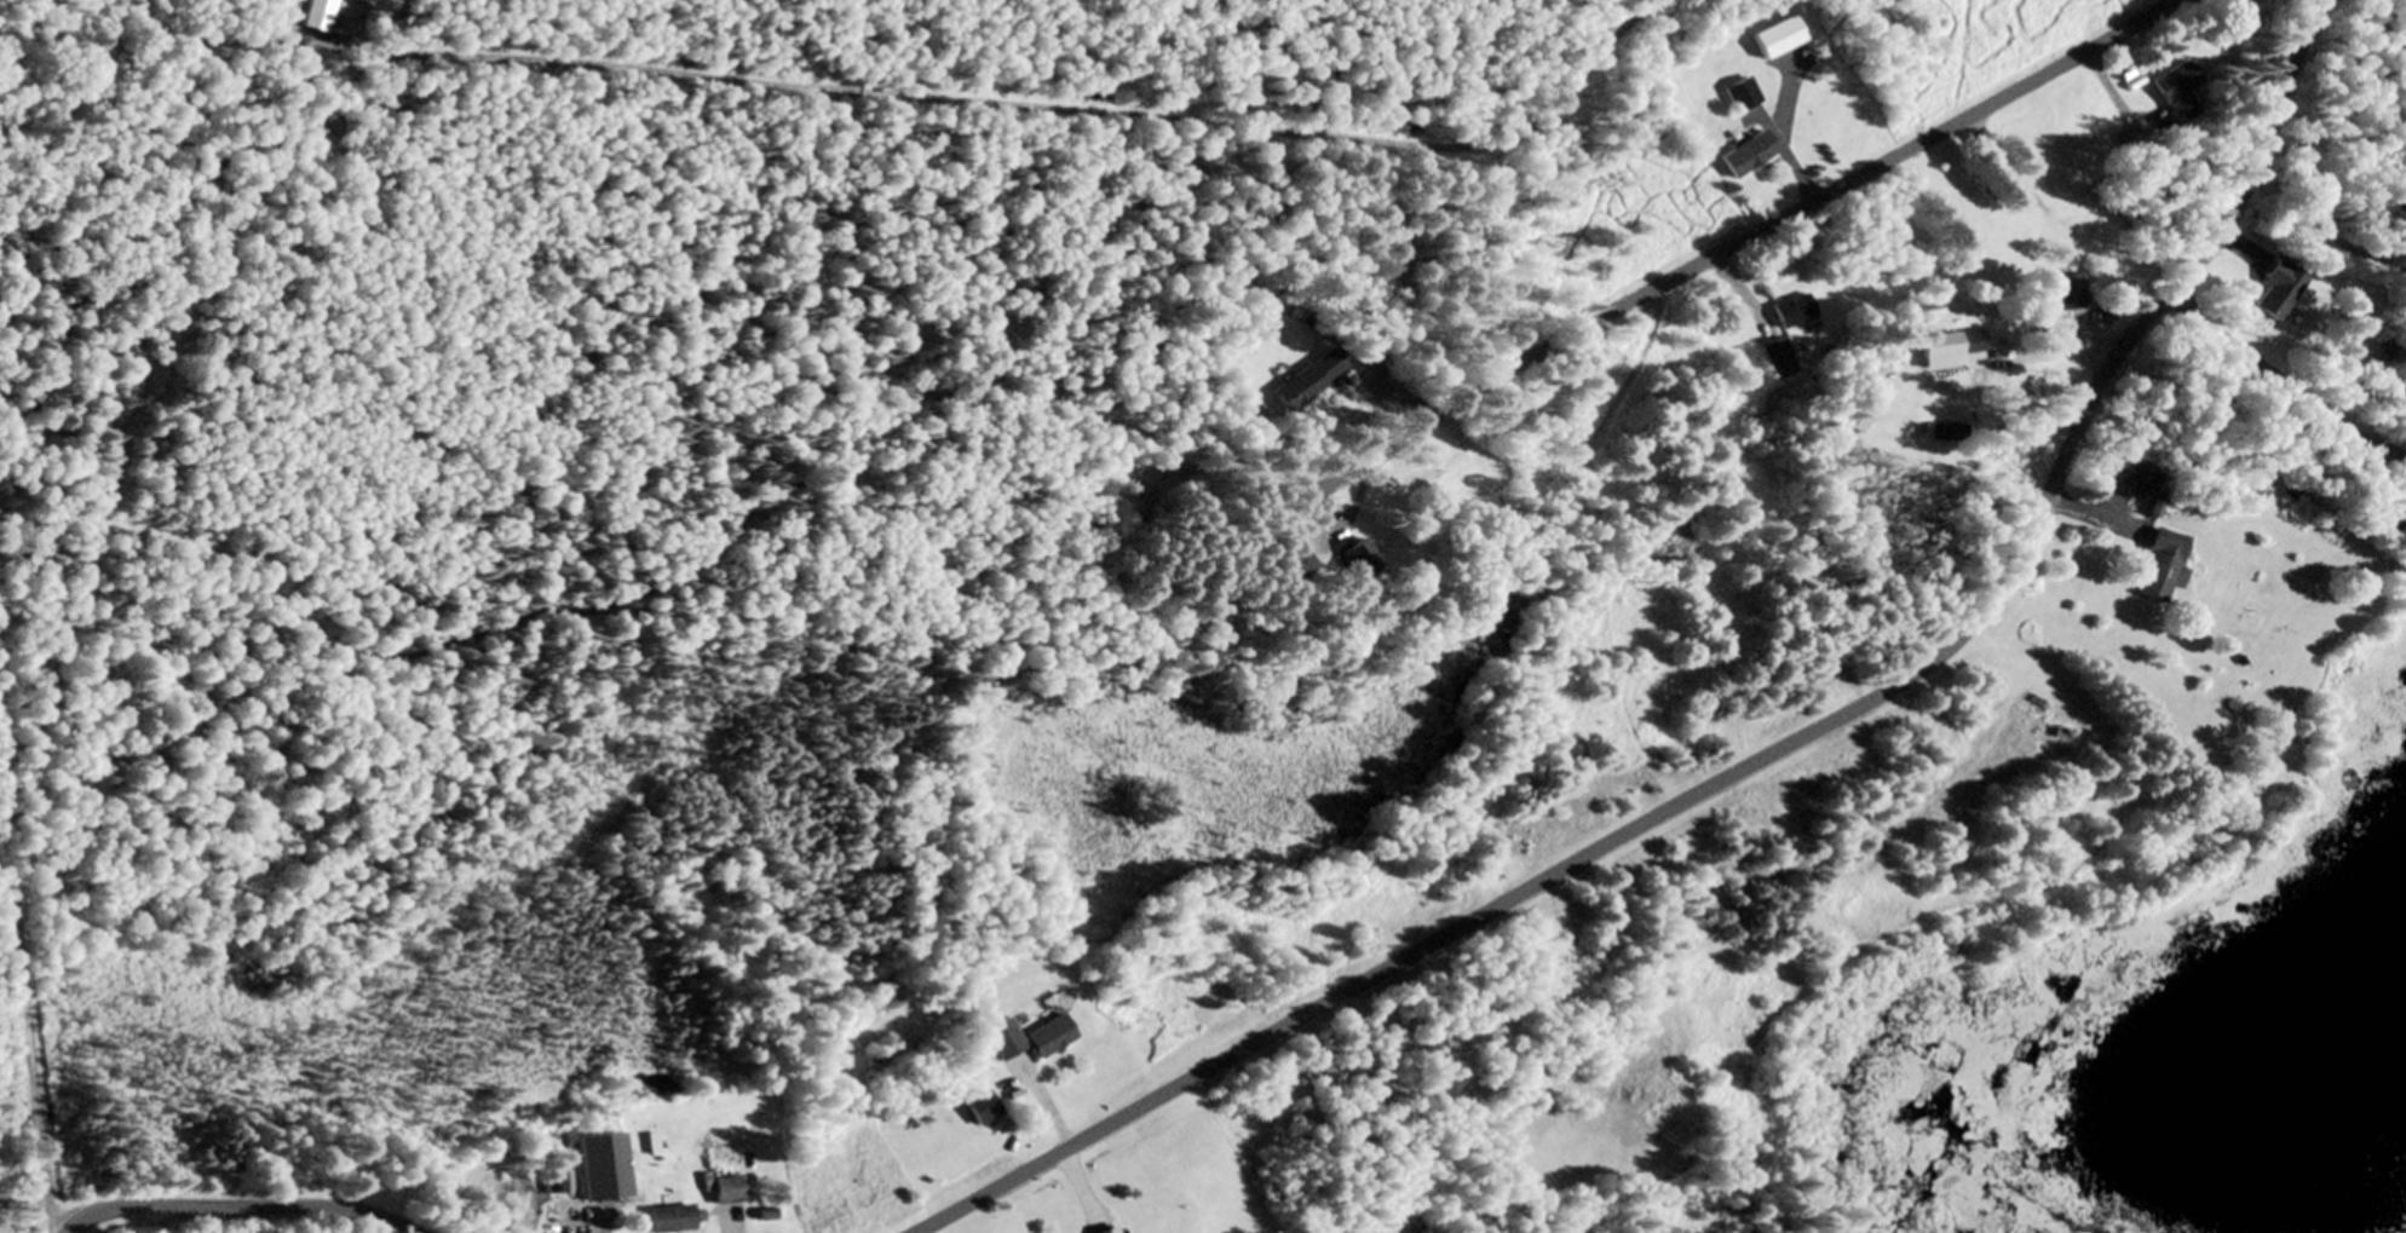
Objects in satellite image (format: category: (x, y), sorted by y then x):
building: (2176, 92)
building: (1739, 97)
building: (1745, 157)
road: (1769, 227)
building: (2272, 290)
building: (1790, 313)
building: (1936, 352)
building: (1773, 359)
building: (2368, 371)
building: (1305, 381)
road: (2285, 382)
park: (2287, 392)
building: (1944, 433)
building: (2129, 472)
building: (1291, 561)
building: (1357, 564)
building: (2158, 569)
road: (1762, 761)
building: (1046, 1038)
building: (1000, 1042)
building: (600, 1169)
building: (553, 1183)
building: (724, 1192)
road: (237, 1209)
building: (666, 1220)
building: (1106, 1231)

